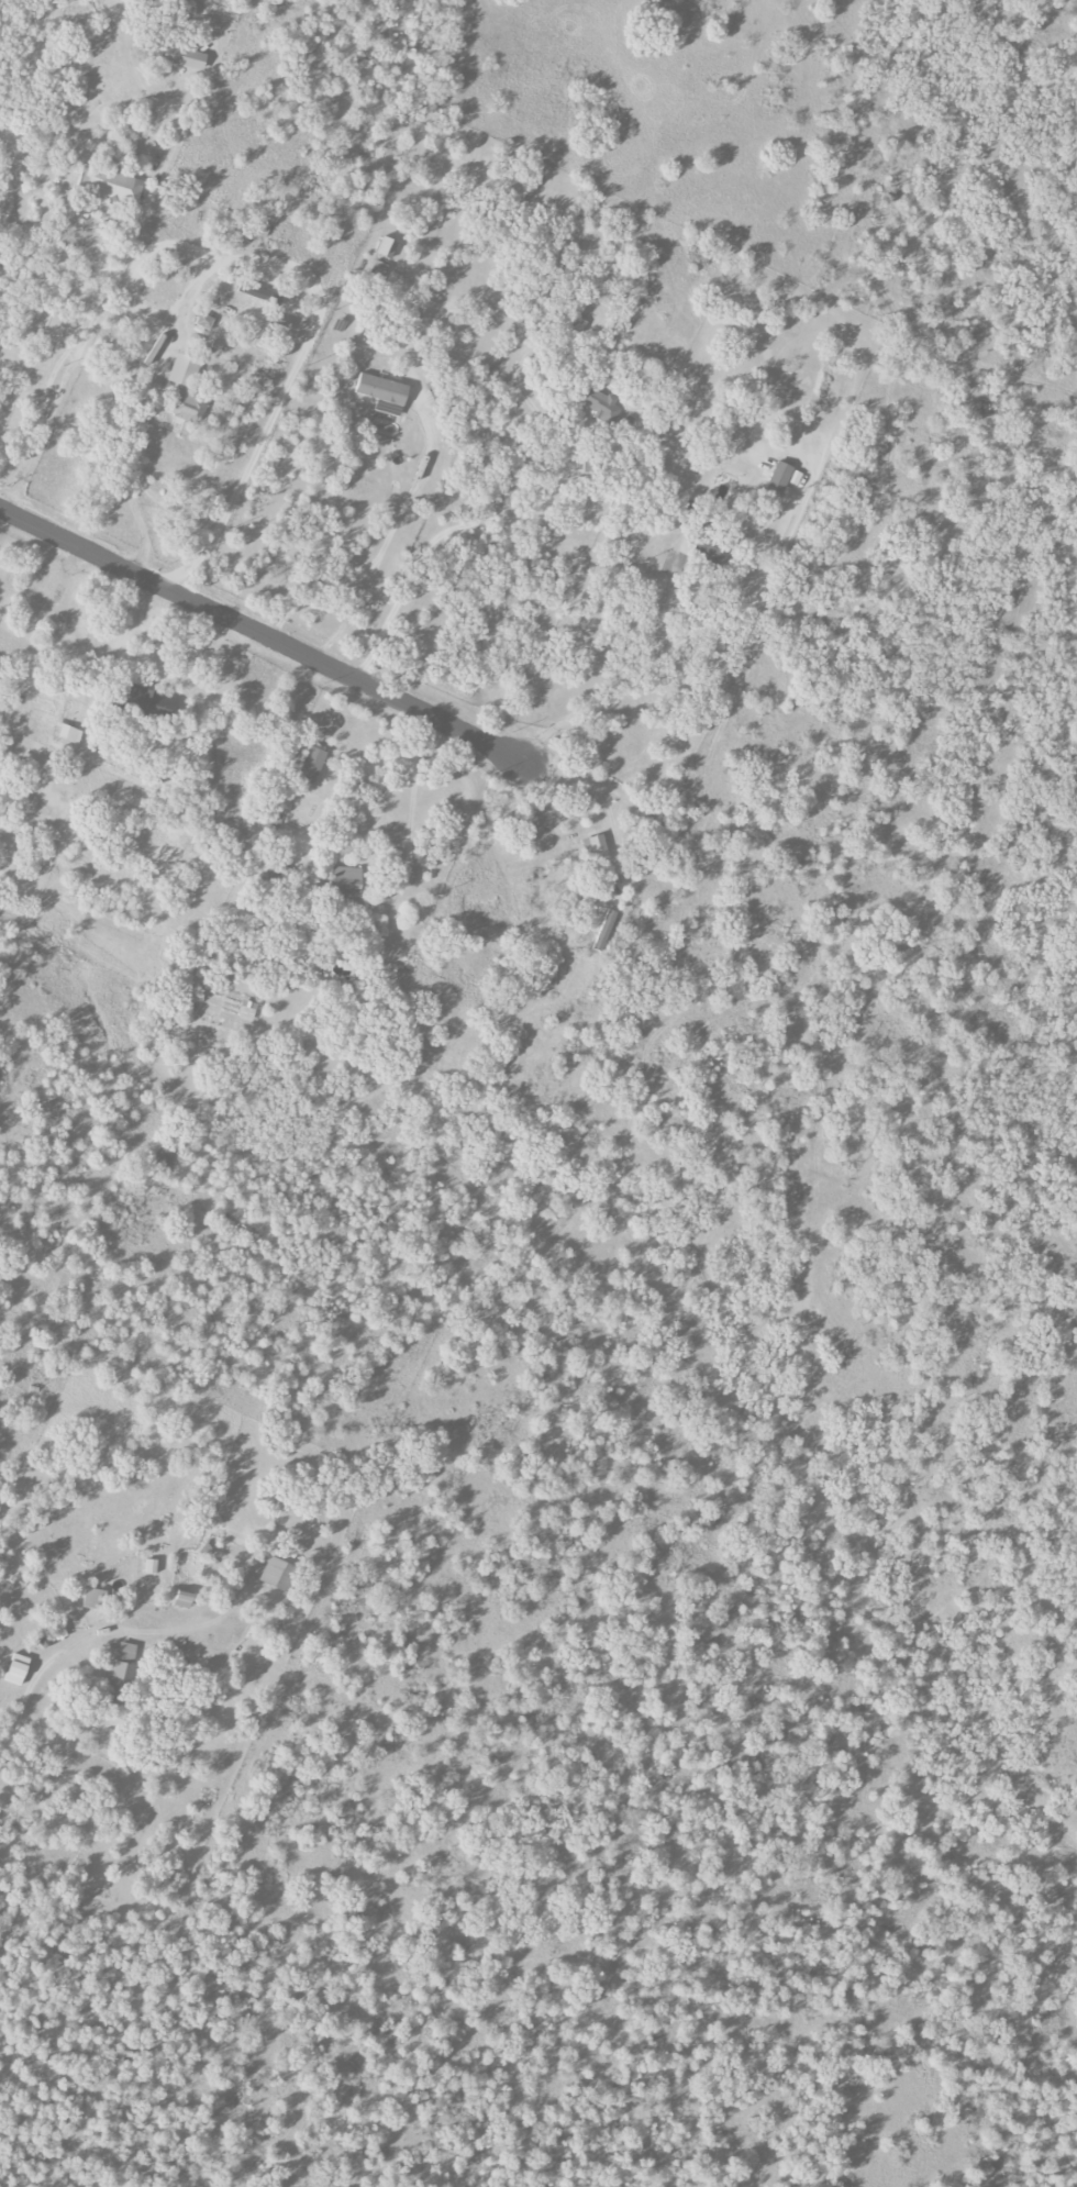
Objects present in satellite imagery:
building: (185, 57)
building: (110, 184)
building: (386, 247)
road: (121, 277)
building: (203, 321)
building: (184, 371)
road: (280, 392)
building: (382, 393)
building: (598, 403)
building: (186, 406)
road: (112, 474)
building: (782, 477)
road: (388, 532)
road: (433, 533)
road: (259, 632)
road: (619, 691)
building: (149, 701)
building: (66, 733)
building: (593, 846)
building: (345, 881)
building: (603, 930)
building: (149, 1566)
building: (278, 1573)
building: (93, 1599)
building: (182, 1599)
road: (96, 1645)
building: (16, 1669)
building: (120, 1673)

